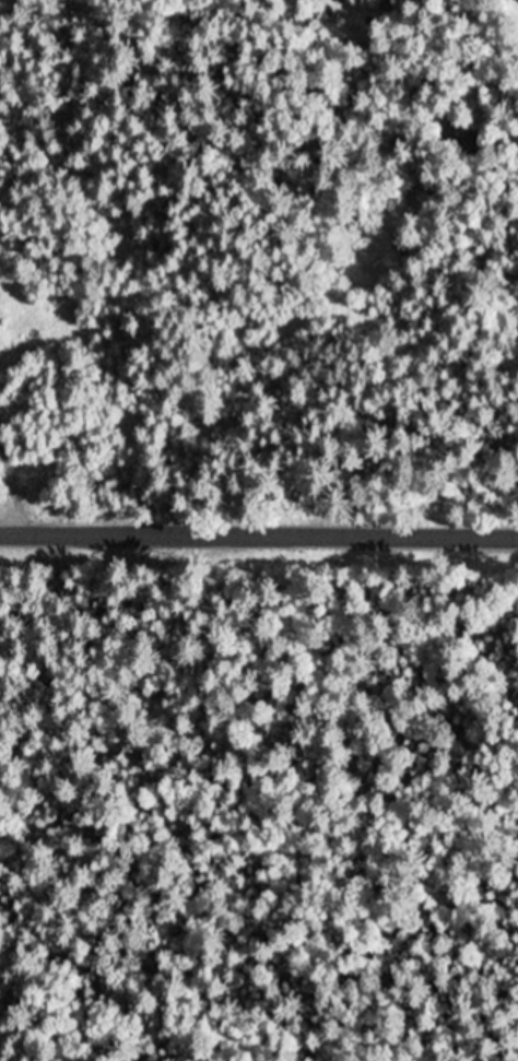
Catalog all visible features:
building: (458, 128)
building: (478, 151)
building: (404, 249)
road: (39, 409)
road: (259, 533)

